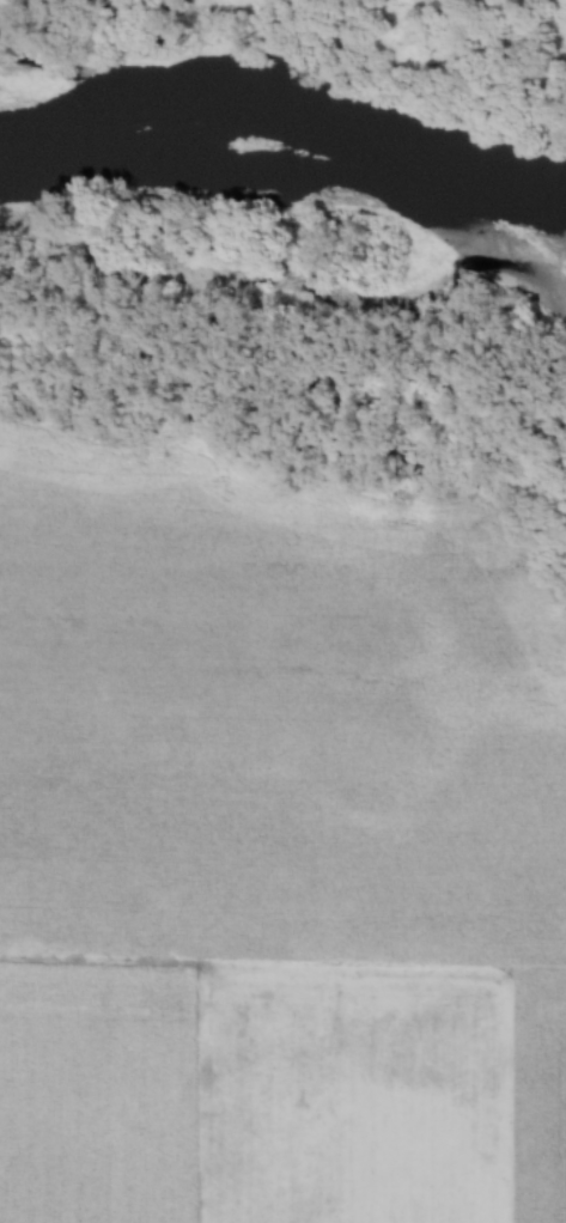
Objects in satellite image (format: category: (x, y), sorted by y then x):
river: (287, 159)

